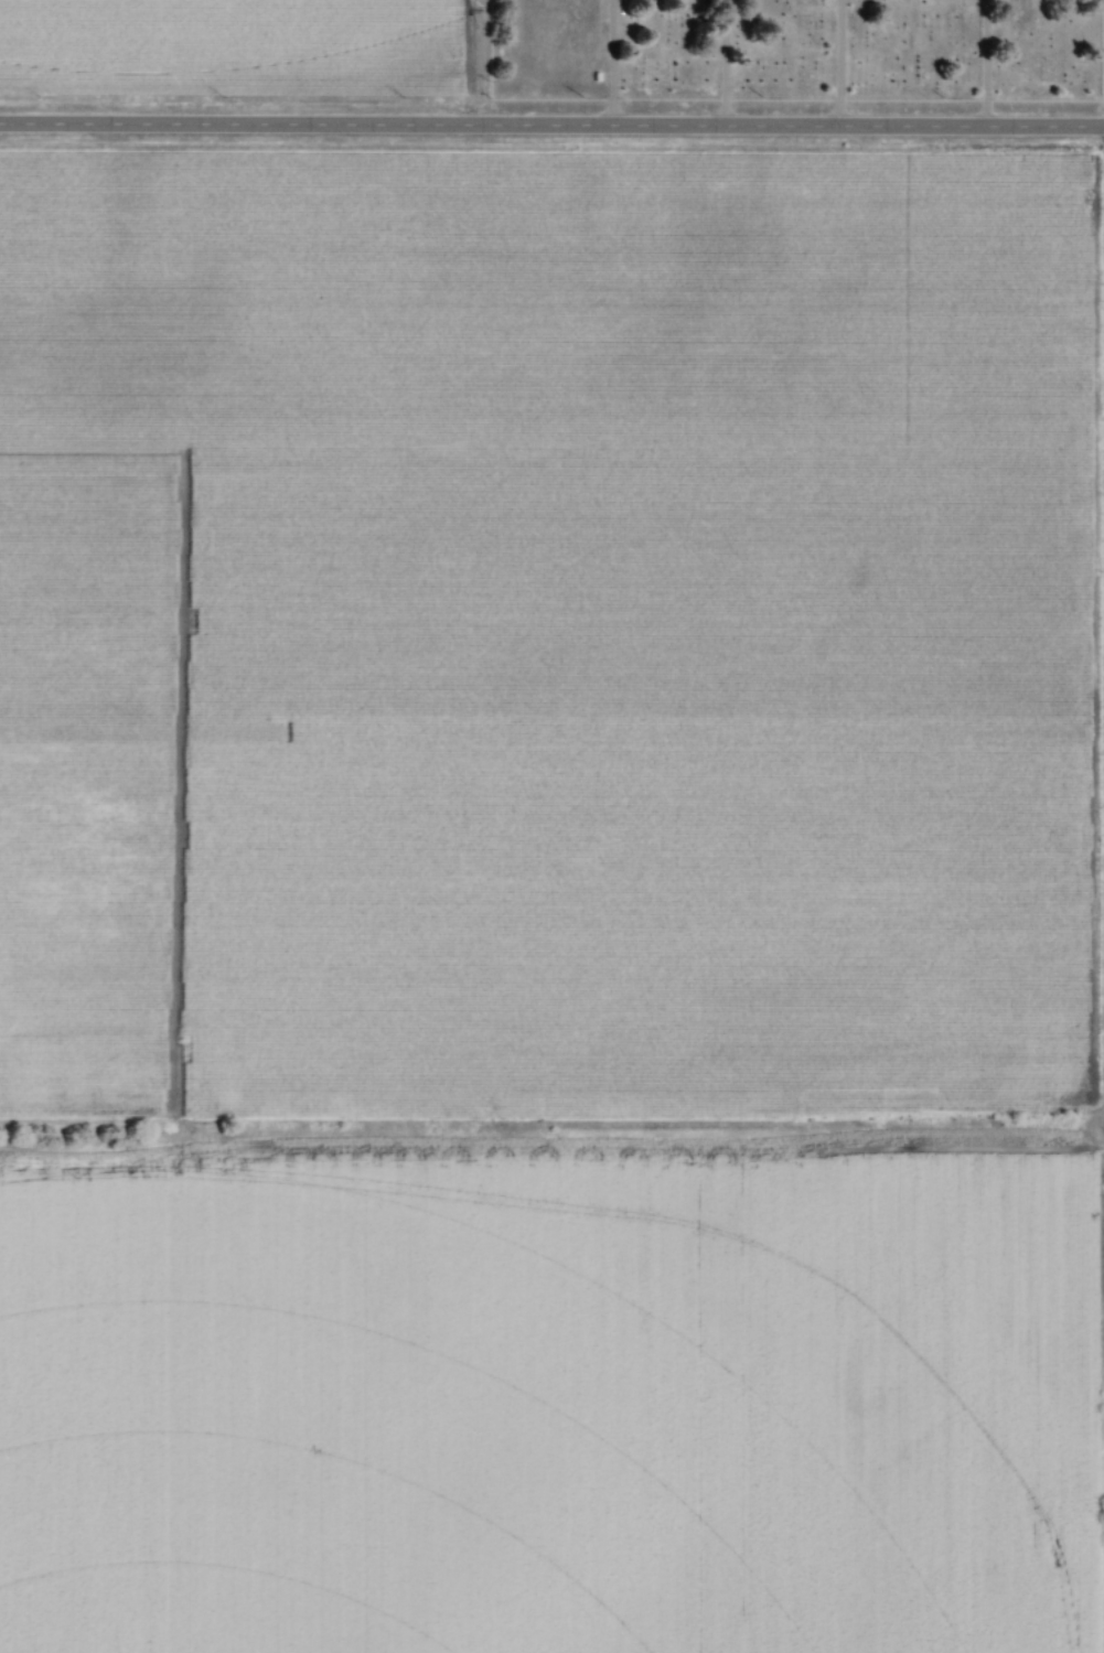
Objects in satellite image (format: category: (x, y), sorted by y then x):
park: (792, 49)
road: (724, 62)
road: (612, 63)
road: (838, 63)
road: (985, 63)
road: (551, 125)

